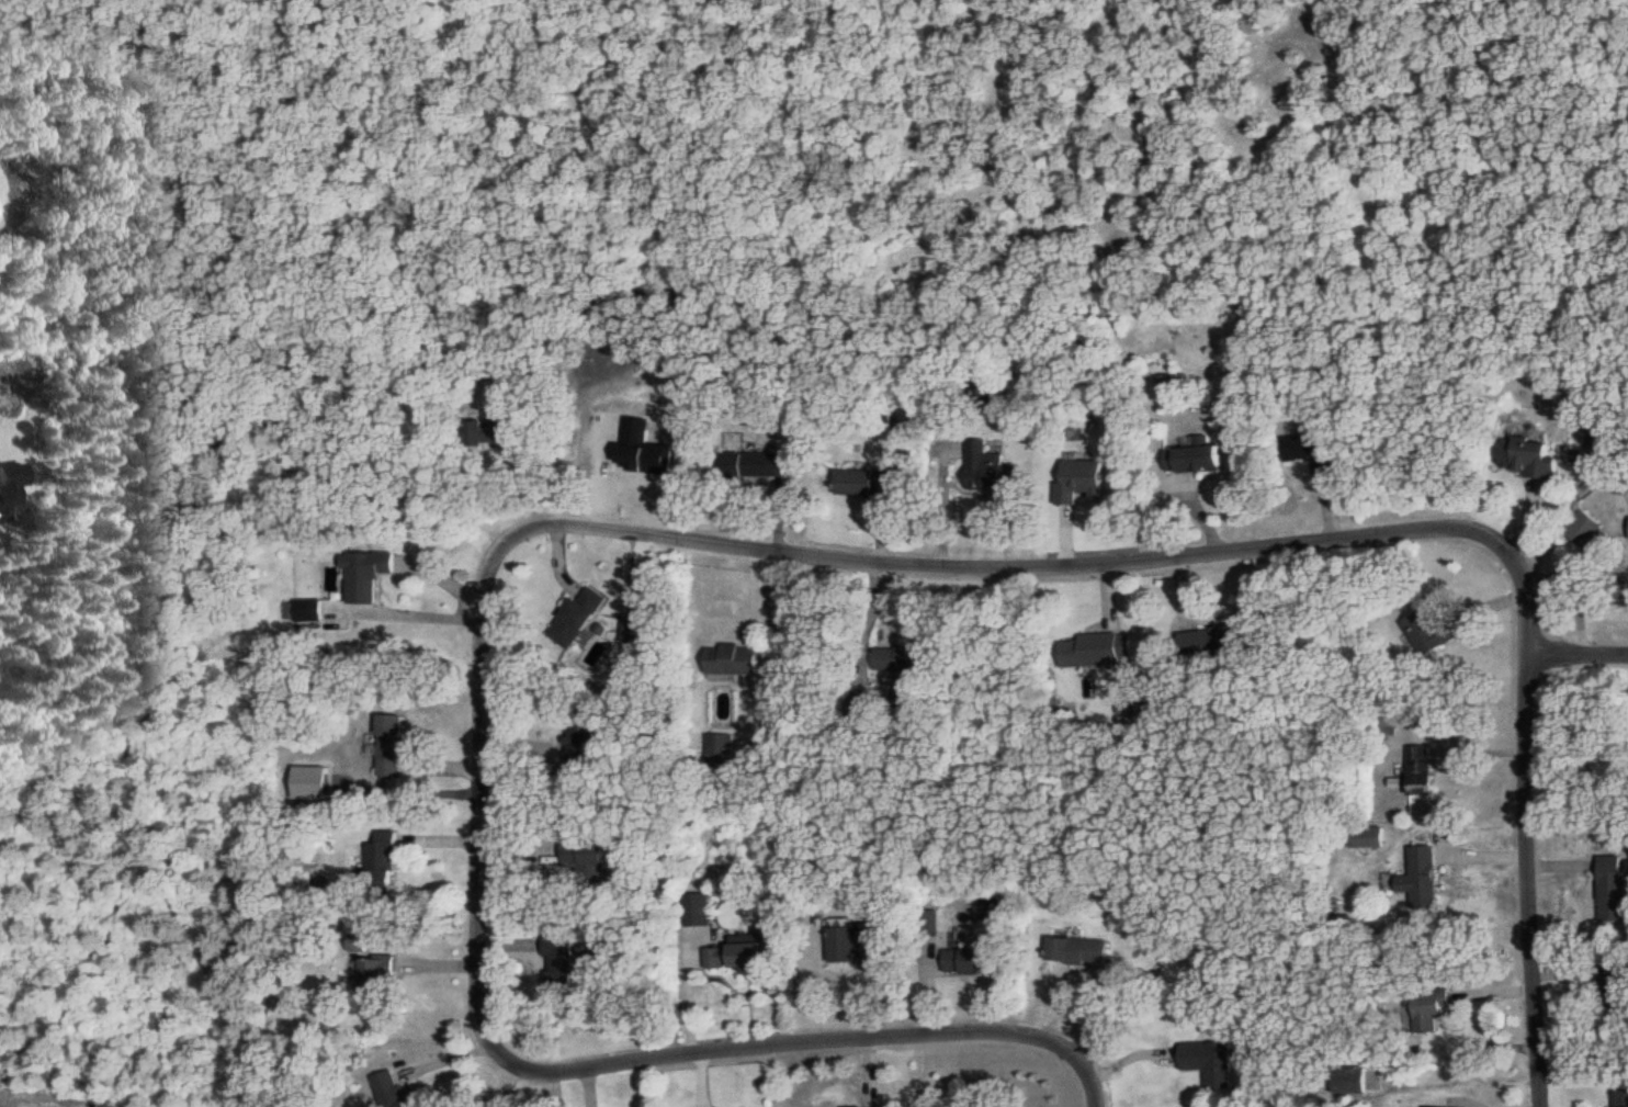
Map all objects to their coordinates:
building: (972, 386)
building: (1166, 391)
building: (901, 419)
building: (491, 432)
building: (1598, 437)
building: (1312, 450)
building: (1529, 455)
building: (1195, 456)
building: (754, 463)
building: (990, 468)
building: (866, 481)
road: (939, 504)
building: (1584, 526)
road: (1055, 564)
building: (366, 574)
road: (1578, 586)
building: (304, 612)
building: (578, 617)
building: (634, 628)
building: (1431, 632)
building: (1208, 639)
building: (1092, 649)
road: (1578, 649)
building: (735, 659)
building: (905, 668)
building: (389, 744)
building: (580, 748)
building: (1421, 768)
road: (479, 803)
building: (1367, 836)
building: (585, 857)
building: (381, 862)
building: (1422, 877)
road: (1528, 878)
building: (1613, 885)
building: (698, 907)
building: (852, 941)
building: (1078, 949)
building: (965, 951)
building: (739, 952)
building: (559, 963)
building: (375, 974)
building: (1615, 990)
building: (1429, 1007)
road: (780, 1038)
building: (1210, 1061)
road: (1083, 1069)
building: (389, 1089)
building: (1620, 1097)
building: (875, 1106)

